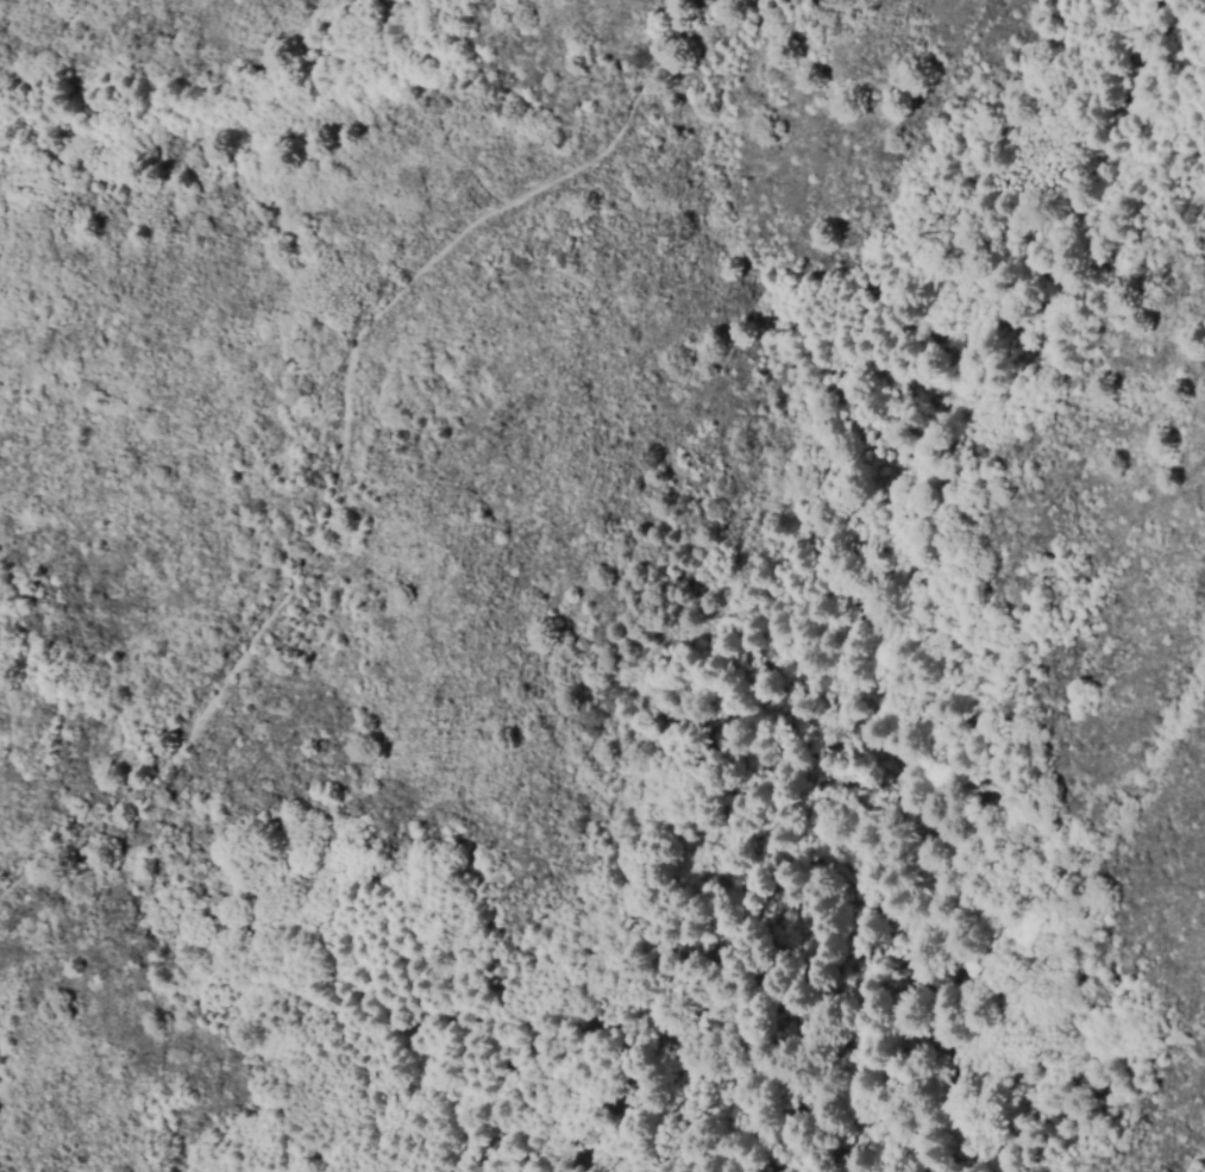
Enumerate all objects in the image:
road: (829, 5)
road: (346, 430)

